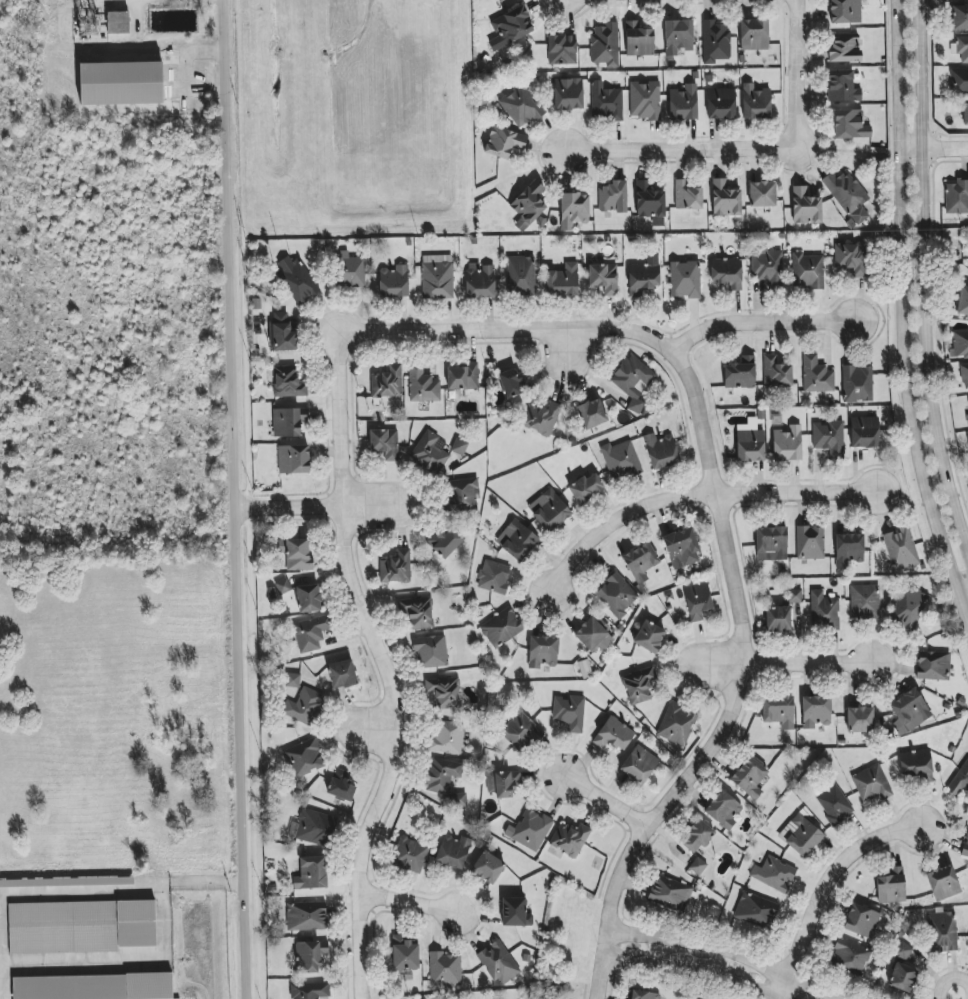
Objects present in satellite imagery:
building: (845, 11)
building: (960, 17)
building: (118, 22)
building: (512, 24)
building: (754, 34)
building: (678, 36)
building: (638, 40)
building: (715, 41)
building: (605, 44)
building: (844, 48)
building: (962, 48)
building: (562, 50)
building: (959, 81)
building: (121, 83)
building: (842, 86)
building: (568, 94)
building: (645, 100)
building: (606, 102)
building: (755, 102)
building: (683, 103)
building: (721, 103)
building: (521, 105)
building: (965, 113)
building: (850, 125)
building: (503, 142)
road: (933, 145)
road: (747, 148)
building: (762, 194)
building: (687, 196)
building: (848, 196)
building: (613, 197)
building: (957, 197)
building: (725, 199)
building: (650, 203)
building: (528, 205)
building: (805, 206)
building: (573, 210)
building: (851, 258)
building: (768, 268)
building: (350, 270)
building: (807, 271)
building: (727, 272)
road: (926, 274)
building: (520, 276)
building: (644, 276)
building: (437, 277)
building: (604, 278)
building: (684, 279)
building: (296, 280)
building: (480, 281)
building: (562, 281)
building: (393, 282)
building: (963, 301)
road: (903, 315)
road: (759, 319)
road: (501, 326)
building: (282, 332)
building: (959, 345)
building: (740, 373)
building: (776, 373)
building: (816, 375)
building: (463, 377)
building: (964, 377)
building: (633, 381)
building: (288, 382)
building: (387, 383)
building: (513, 383)
building: (857, 384)
building: (422, 385)
building: (591, 414)
building: (541, 418)
building: (967, 419)
building: (288, 421)
building: (864, 432)
building: (829, 438)
building: (967, 439)
building: (750, 442)
building: (384, 443)
building: (787, 444)
building: (459, 446)
building: (661, 451)
building: (430, 452)
building: (293, 459)
building: (620, 460)
building: (585, 488)
building: (464, 494)
road: (694, 497)
road: (233, 499)
road: (310, 508)
building: (549, 510)
building: (444, 541)
building: (517, 541)
building: (810, 542)
building: (771, 543)
building: (682, 548)
building: (901, 548)
building: (848, 549)
building: (296, 554)
building: (640, 562)
building: (395, 568)
building: (493, 577)
building: (283, 586)
building: (617, 595)
building: (795, 595)
building: (309, 598)
building: (697, 601)
building: (864, 602)
road: (963, 605)
building: (909, 607)
building: (823, 611)
building: (417, 612)
building: (778, 618)
building: (501, 628)
building: (311, 633)
building: (593, 635)
building: (650, 637)
building: (430, 652)
building: (543, 652)
road: (774, 654)
building: (932, 665)
building: (342, 674)
building: (292, 680)
road: (388, 680)
building: (638, 685)
road: (734, 688)
building: (443, 692)
building: (304, 706)
building: (778, 711)
building: (815, 711)
building: (909, 712)
building: (569, 713)
building: (860, 720)
building: (677, 724)
road: (377, 730)
building: (519, 731)
building: (614, 734)
building: (447, 739)
building: (304, 758)
building: (639, 764)
building: (915, 765)
building: (442, 776)
building: (749, 778)
building: (959, 781)
building: (503, 783)
building: (871, 784)
building: (341, 785)
road: (614, 797)
building: (461, 799)
building: (834, 804)
building: (723, 810)
building: (316, 828)
building: (530, 830)
building: (800, 835)
building: (696, 836)
building: (569, 839)
building: (965, 846)
building: (453, 851)
building: (410, 854)
building: (698, 866)
building: (488, 867)
building: (311, 873)
building: (773, 874)
road: (836, 875)
building: (67, 882)
building: (943, 882)
building: (891, 886)
road: (121, 887)
building: (669, 893)
road: (411, 902)
building: (756, 910)
building: (515, 912)
building: (306, 916)
building: (861, 921)
building: (82, 926)
building: (942, 932)
building: (903, 950)
building: (404, 954)
building: (310, 956)
building: (849, 956)
building: (499, 963)
road: (707, 963)
building: (444, 969)
building: (902, 977)
road: (949, 979)
building: (93, 987)
building: (309, 990)
building: (644, 995)
road: (0, 997)
building: (425, 998)

